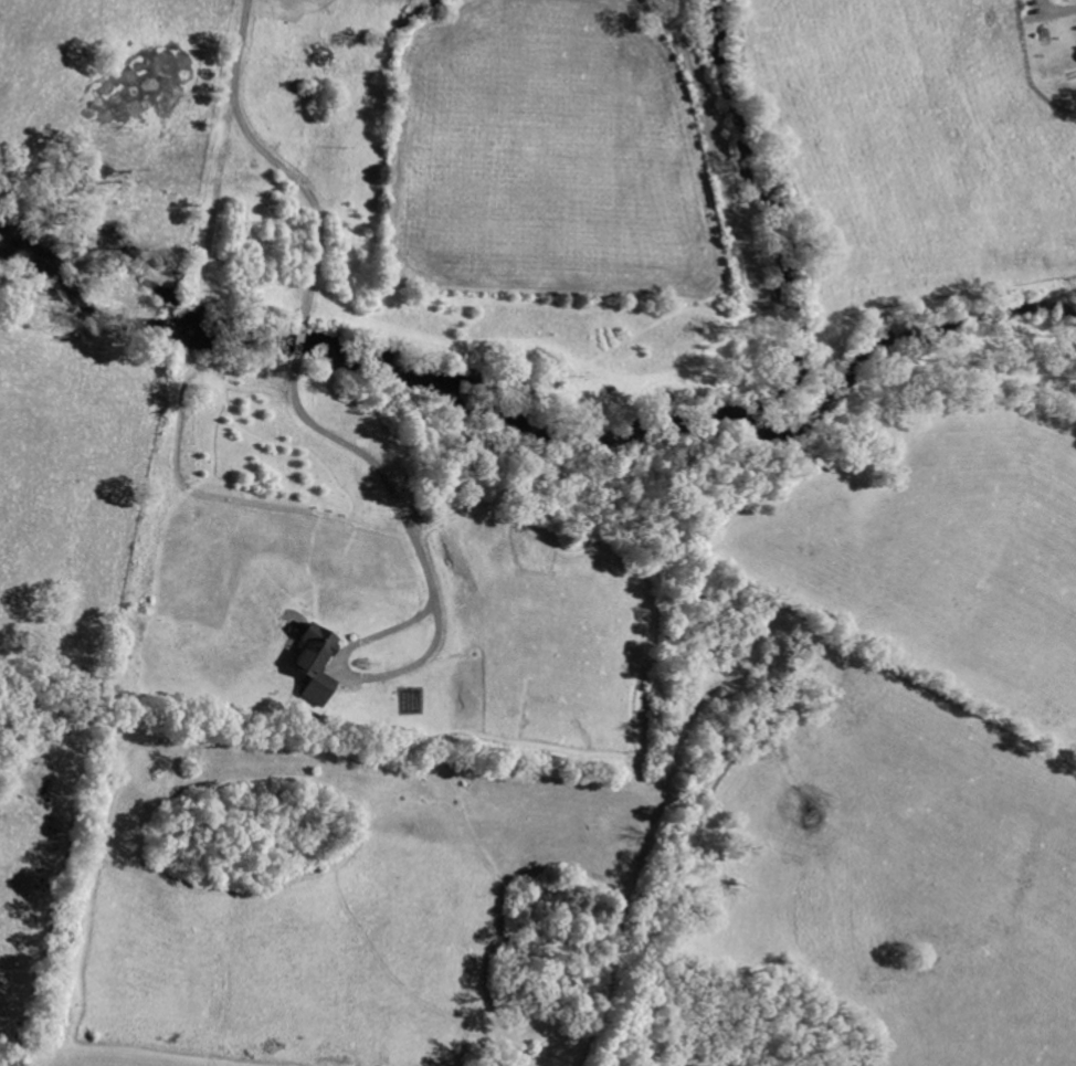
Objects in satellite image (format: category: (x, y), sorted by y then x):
road: (275, 163)
road: (299, 342)
road: (432, 592)
building: (317, 664)

